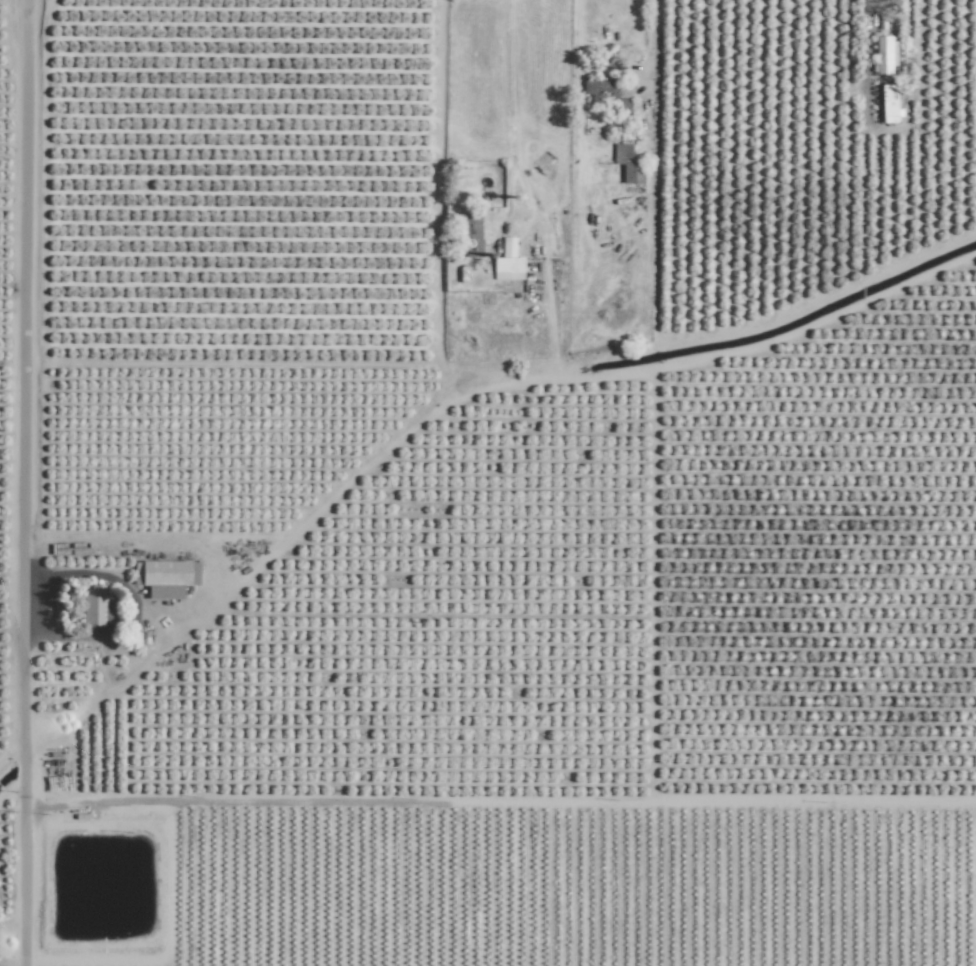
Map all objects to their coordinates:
building: (886, 54)
road: (513, 99)
building: (890, 104)
road: (652, 118)
building: (624, 160)
road: (434, 181)
building: (509, 262)
road: (232, 362)
road: (25, 483)
building: (169, 578)
building: (97, 607)

